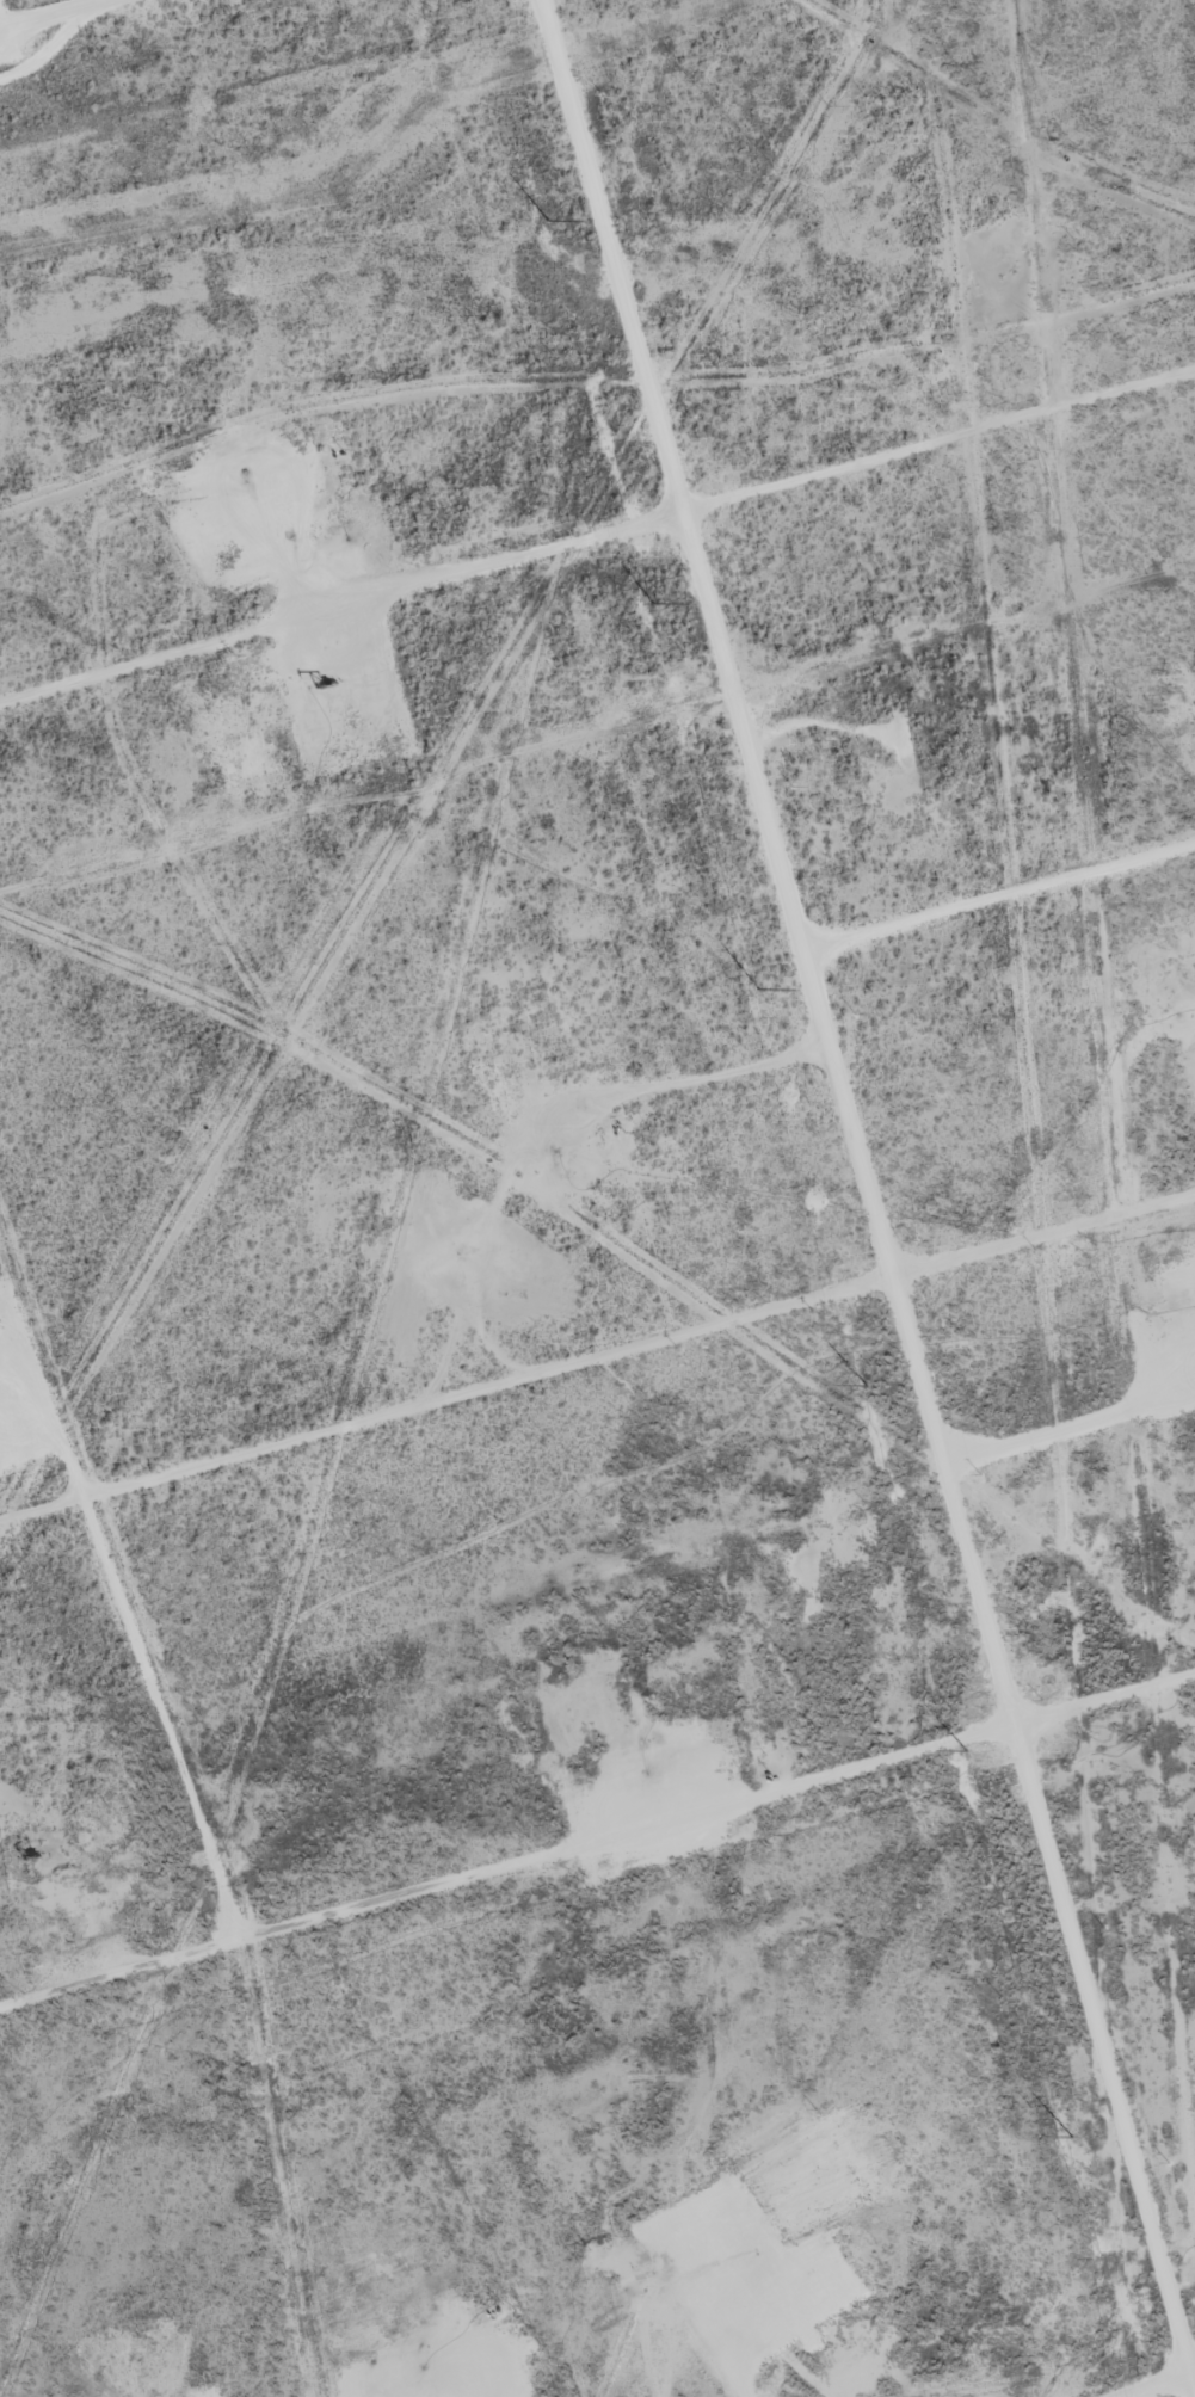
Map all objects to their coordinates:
road: (24, 6)
power tower: (548, 220)
road: (596, 526)
power tower: (652, 603)
power tower: (757, 985)
road: (827, 1197)
road: (596, 1349)
power tower: (868, 1381)
power tower: (968, 1749)
road: (597, 1830)
power tower: (1072, 2134)
road: (1132, 2377)

